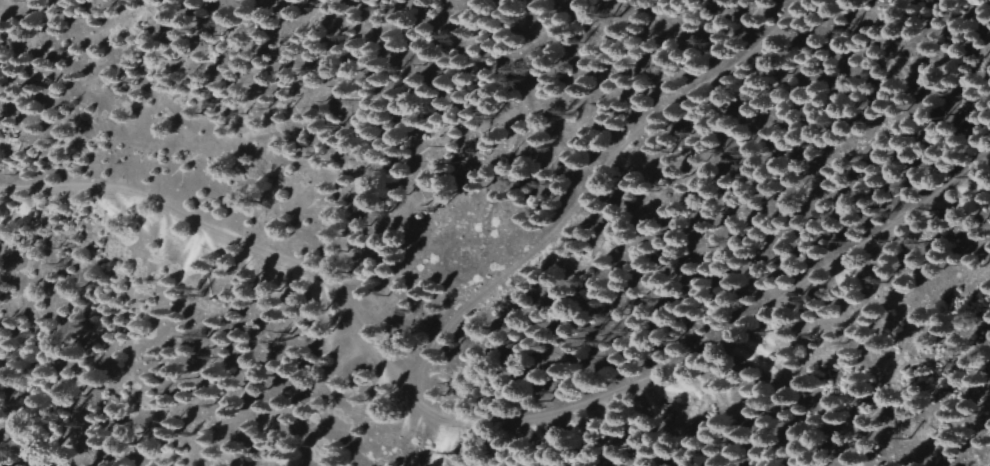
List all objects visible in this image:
road: (507, 437)

